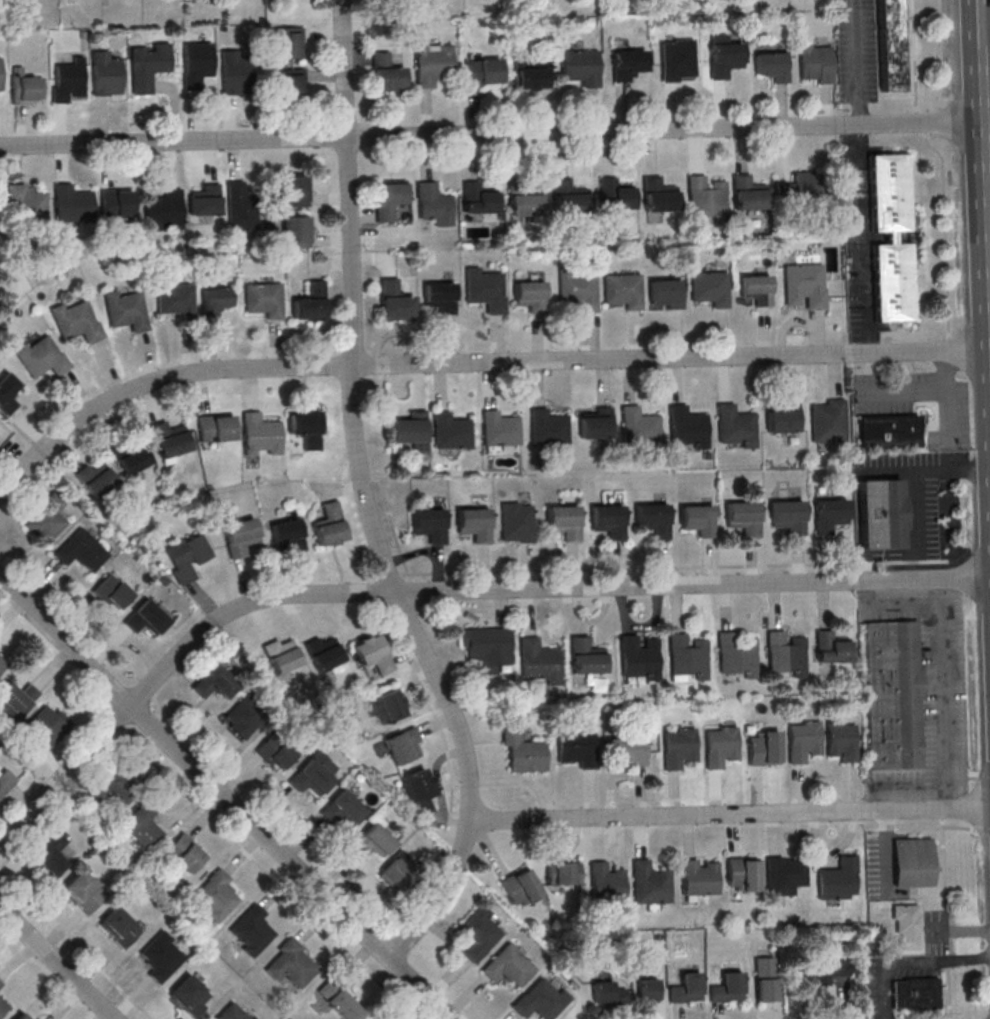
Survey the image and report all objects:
road: (981, 0)
road: (983, 24)
road: (987, 37)
building: (288, 43)
building: (889, 45)
building: (723, 56)
building: (678, 60)
building: (196, 62)
road: (857, 62)
building: (433, 63)
building: (815, 63)
building: (147, 64)
building: (627, 64)
building: (769, 64)
building: (581, 66)
building: (483, 71)
building: (236, 72)
building: (105, 73)
building: (387, 73)
building: (0, 74)
building: (532, 75)
building: (68, 80)
building: (290, 83)
road: (985, 84)
building: (26, 88)
road: (989, 120)
road: (666, 128)
road: (172, 141)
road: (989, 145)
road: (941, 165)
building: (800, 190)
building: (294, 191)
building: (613, 193)
building: (747, 193)
building: (656, 194)
building: (566, 196)
building: (706, 196)
building: (522, 197)
building: (478, 198)
building: (389, 199)
building: (205, 200)
building: (117, 203)
building: (72, 204)
building: (434, 204)
building: (26, 206)
building: (241, 207)
building: (163, 209)
building: (295, 231)
building: (890, 237)
road: (855, 239)
building: (803, 284)
building: (708, 287)
building: (487, 289)
building: (756, 289)
building: (578, 290)
building: (622, 290)
building: (665, 293)
building: (531, 295)
building: (440, 297)
building: (263, 298)
building: (175, 299)
building: (311, 301)
building: (396, 301)
building: (216, 302)
building: (125, 309)
building: (77, 321)
road: (949, 345)
building: (42, 357)
road: (949, 361)
road: (475, 363)
road: (903, 389)
building: (8, 393)
building: (782, 418)
road: (949, 420)
building: (827, 421)
building: (595, 423)
building: (734, 425)
building: (547, 427)
building: (687, 427)
building: (217, 428)
building: (306, 428)
building: (499, 428)
building: (639, 428)
building: (411, 431)
building: (450, 431)
building: (888, 431)
building: (261, 435)
building: (170, 439)
building: (0, 449)
building: (131, 455)
road: (980, 469)
road: (914, 471)
building: (96, 477)
road: (366, 501)
building: (880, 513)
building: (829, 515)
road: (917, 516)
building: (787, 517)
building: (47, 518)
building: (743, 518)
building: (652, 519)
building: (697, 519)
building: (562, 521)
building: (607, 521)
building: (515, 522)
building: (427, 523)
building: (472, 523)
building: (329, 525)
road: (393, 530)
building: (288, 534)
building: (241, 537)
building: (81, 550)
building: (186, 556)
road: (673, 567)
road: (918, 569)
road: (394, 574)
road: (691, 584)
road: (411, 585)
road: (863, 588)
building: (112, 592)
road: (903, 598)
building: (146, 618)
building: (486, 647)
building: (830, 647)
building: (323, 652)
building: (282, 654)
building: (372, 654)
building: (735, 654)
building: (785, 654)
building: (586, 656)
building: (686, 656)
building: (638, 657)
building: (3, 661)
building: (539, 661)
road: (171, 665)
building: (214, 682)
road: (410, 688)
road: (944, 692)
building: (894, 694)
building: (17, 697)
building: (381, 707)
road: (409, 715)
building: (244, 717)
building: (46, 728)
building: (803, 740)
building: (841, 740)
building: (403, 745)
building: (720, 746)
building: (678, 747)
building: (764, 747)
building: (577, 748)
road: (446, 750)
building: (524, 751)
building: (626, 751)
building: (275, 752)
building: (309, 777)
building: (5, 780)
road: (437, 786)
building: (111, 789)
building: (419, 790)
road: (225, 797)
building: (341, 809)
road: (205, 814)
road: (729, 816)
building: (141, 824)
road: (921, 827)
road: (983, 830)
building: (373, 841)
building: (185, 852)
building: (50, 854)
building: (913, 862)
building: (399, 870)
building: (563, 871)
building: (743, 874)
building: (785, 874)
building: (700, 877)
building: (837, 879)
building: (606, 883)
building: (650, 883)
building: (520, 887)
building: (82, 891)
building: (216, 895)
road: (950, 914)
building: (118, 927)
building: (906, 927)
building: (251, 930)
building: (477, 932)
road: (75, 944)
building: (160, 956)
road: (908, 961)
road: (57, 962)
building: (290, 963)
building: (507, 965)
building: (828, 969)
building: (766, 979)
building: (0, 984)
building: (727, 987)
building: (687, 988)
building: (648, 989)
building: (916, 993)
building: (608, 994)
building: (190, 996)
building: (338, 999)
building: (540, 1000)
building: (2, 1007)
building: (229, 1013)
building: (21, 1015)
building: (34, 1017)
building: (373, 1018)

